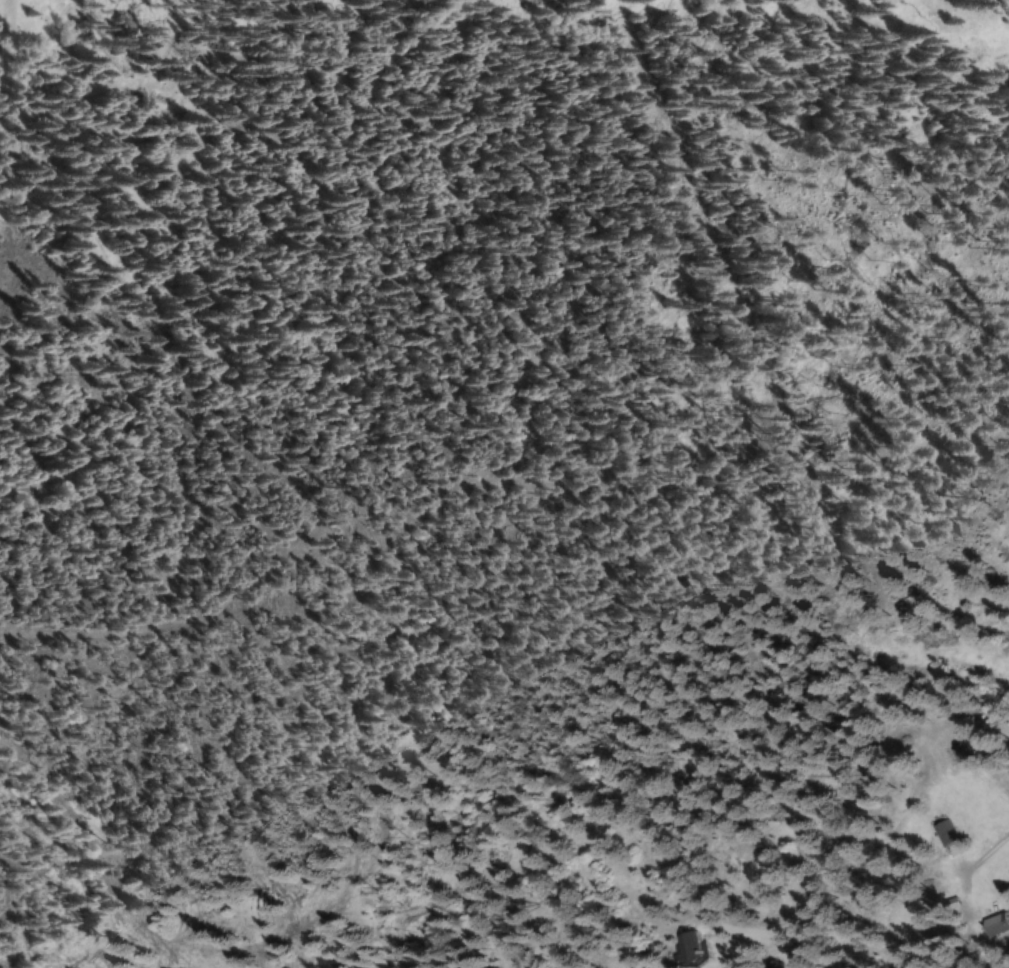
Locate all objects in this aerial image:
building: (954, 751)
building: (939, 832)
building: (988, 926)
building: (698, 948)
building: (766, 965)

